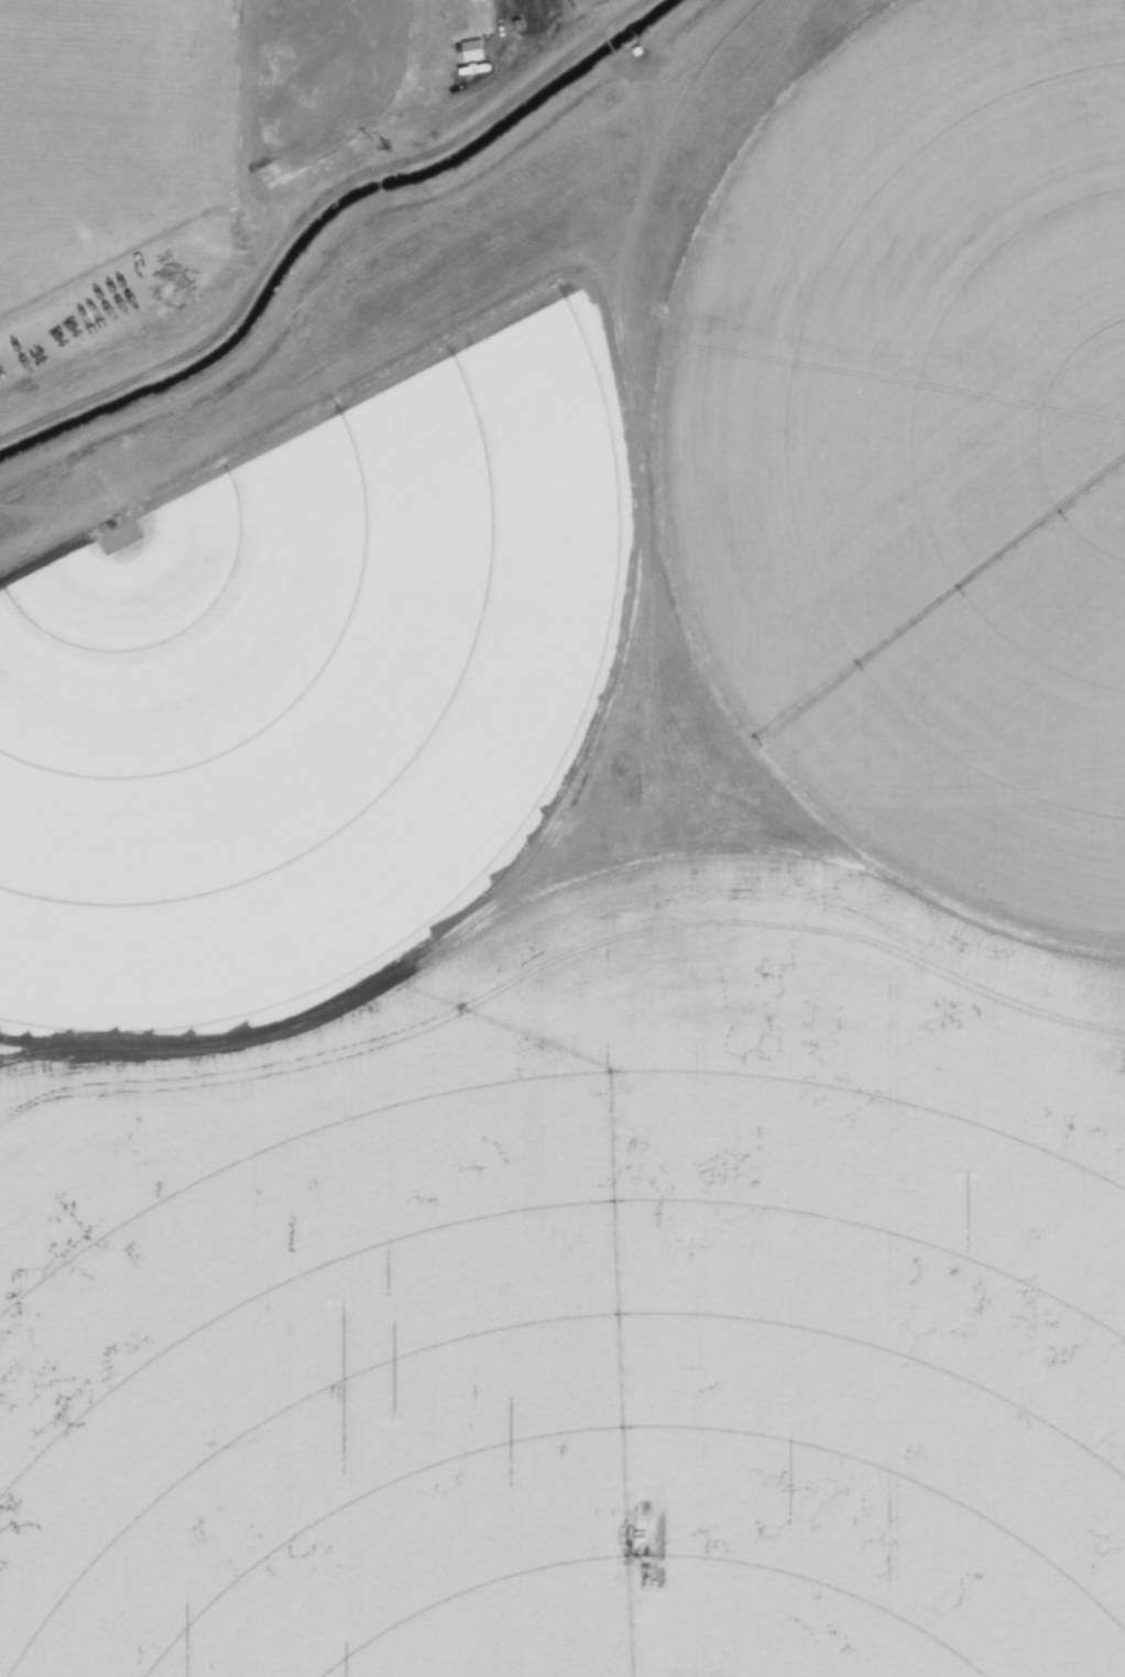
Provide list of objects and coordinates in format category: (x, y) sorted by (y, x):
building: (454, 15)
building: (471, 51)
building: (640, 1537)

